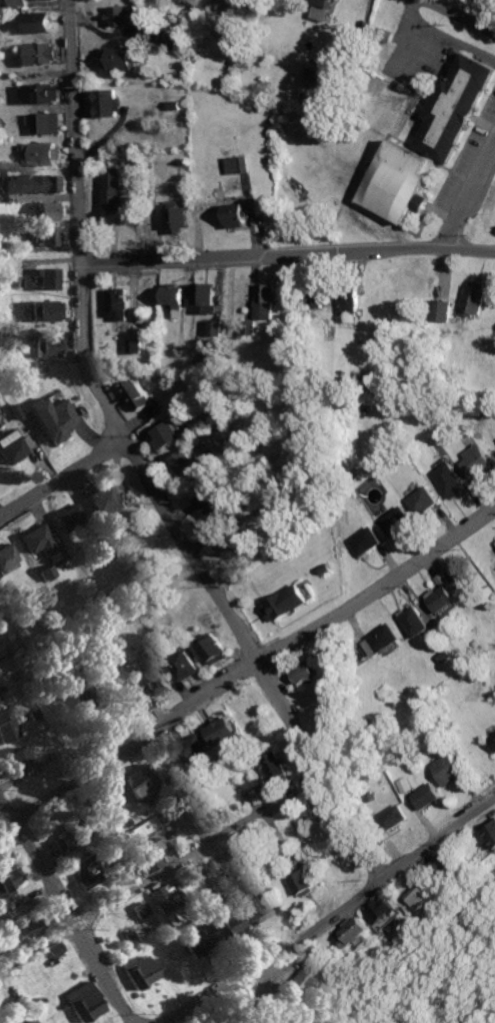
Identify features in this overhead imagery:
building: (323, 9)
building: (123, 15)
road: (458, 17)
building: (39, 22)
building: (386, 34)
building: (174, 40)
building: (42, 53)
building: (118, 58)
building: (42, 93)
building: (106, 103)
building: (454, 108)
building: (47, 123)
building: (43, 153)
building: (240, 164)
building: (399, 182)
building: (31, 184)
building: (111, 190)
road: (468, 192)
building: (47, 210)
building: (236, 215)
building: (177, 218)
building: (47, 236)
road: (287, 254)
building: (47, 279)
building: (204, 297)
building: (174, 298)
building: (319, 298)
building: (474, 298)
building: (267, 300)
building: (117, 303)
building: (349, 304)
building: (440, 310)
building: (45, 311)
building: (216, 327)
building: (133, 345)
building: (49, 347)
building: (137, 394)
building: (54, 418)
building: (166, 434)
building: (11, 447)
building: (474, 461)
road: (141, 464)
building: (186, 464)
road: (63, 477)
building: (449, 479)
building: (103, 501)
building: (422, 501)
building: (212, 506)
building: (69, 517)
building: (396, 521)
building: (38, 540)
building: (367, 541)
building: (494, 543)
building: (239, 549)
building: (7, 556)
building: (47, 573)
building: (442, 579)
building: (442, 598)
building: (286, 603)
building: (416, 621)
building: (381, 639)
building: (216, 648)
building: (1, 651)
road: (246, 663)
building: (188, 665)
building: (305, 673)
building: (156, 680)
building: (82, 700)
building: (6, 730)
building: (223, 731)
building: (492, 740)
building: (195, 748)
building: (15, 759)
building: (276, 769)
building: (449, 769)
building: (133, 783)
building: (426, 795)
building: (392, 817)
building: (491, 832)
building: (67, 837)
building: (143, 855)
building: (441, 863)
building: (82, 871)
road: (160, 872)
road: (385, 875)
building: (6, 880)
building: (307, 883)
building: (415, 896)
building: (158, 899)
building: (248, 907)
building: (137, 909)
building: (380, 909)
road: (64, 914)
building: (219, 923)
building: (19, 929)
building: (354, 931)
building: (192, 937)
building: (51, 949)
building: (304, 958)
building: (135, 971)
building: (294, 976)
road: (218, 990)
road: (258, 991)
building: (79, 1002)
building: (28, 1021)

